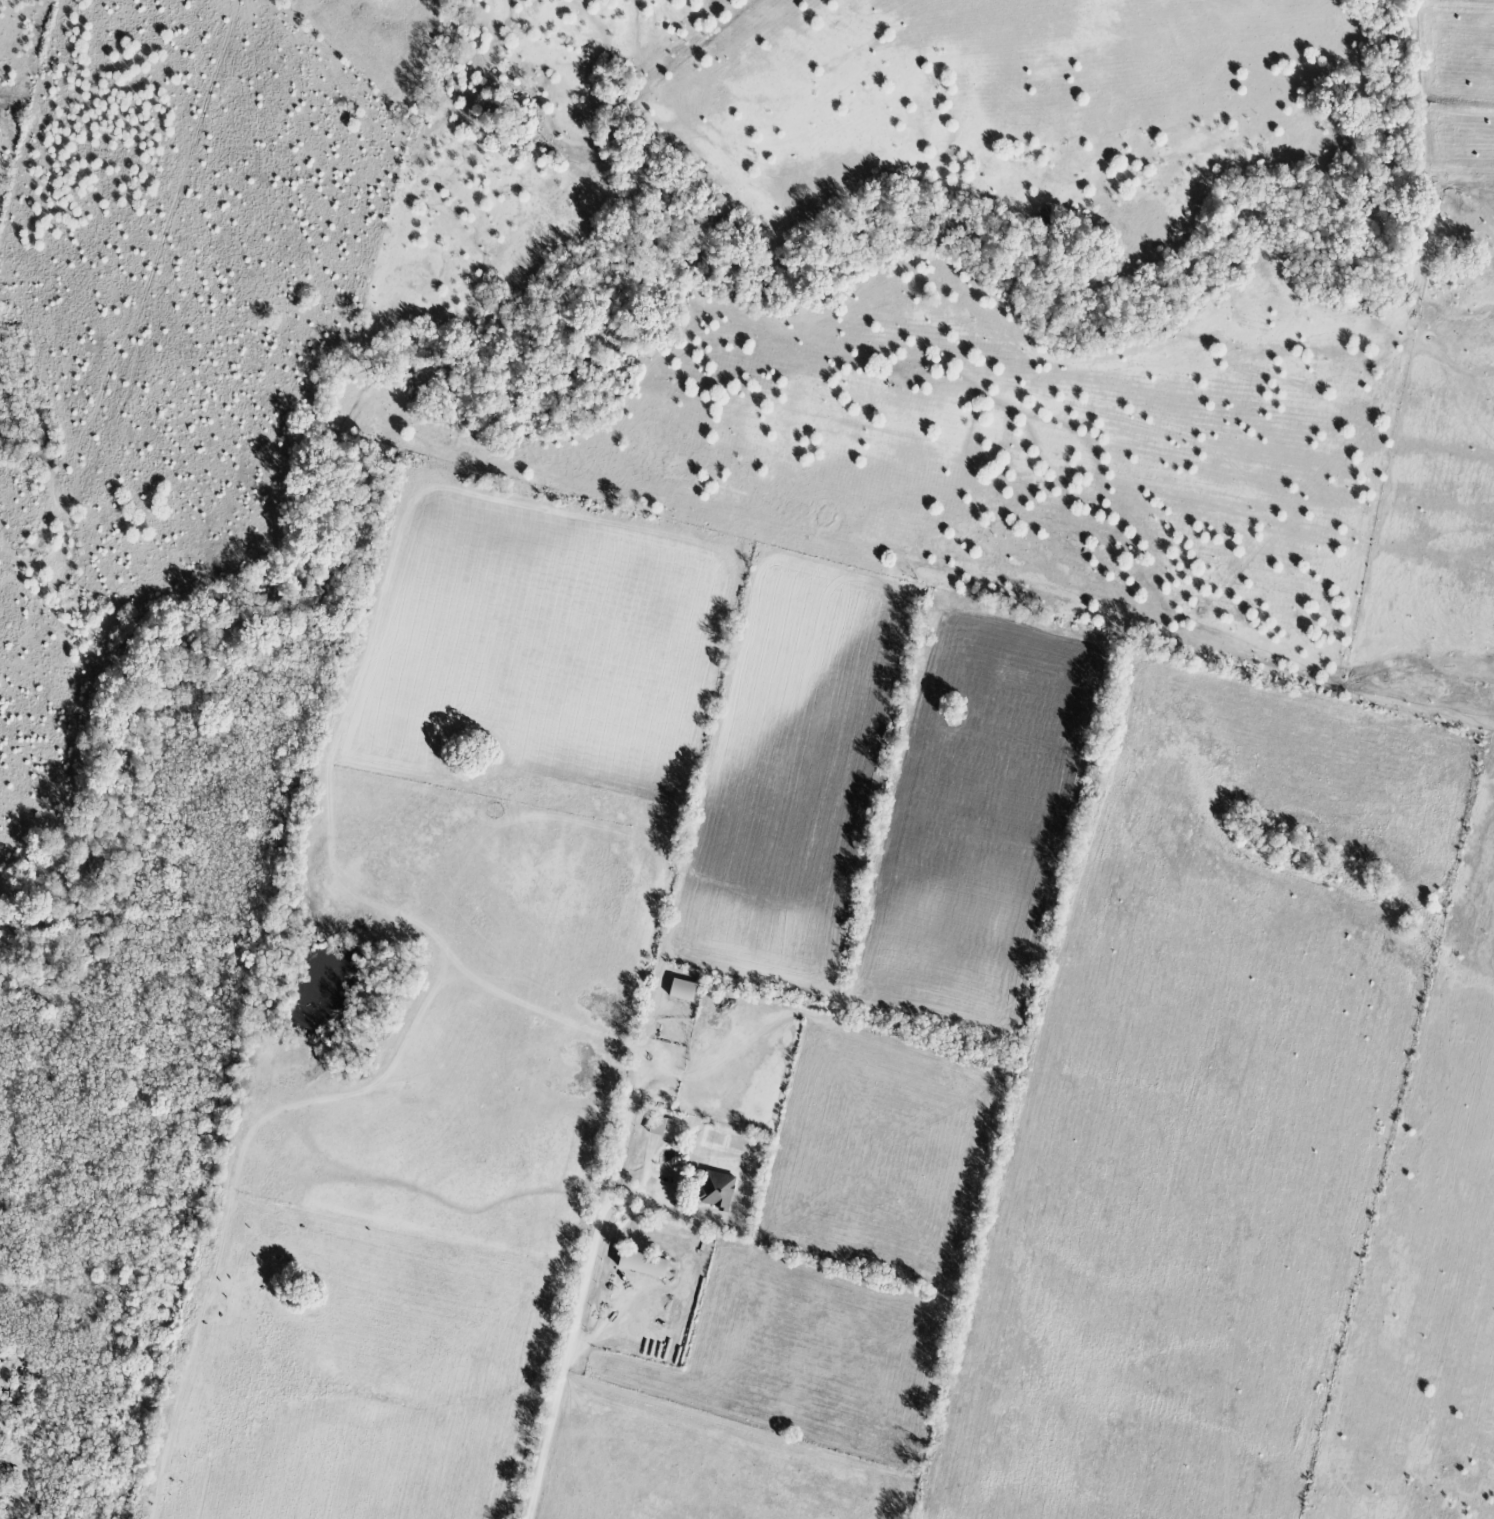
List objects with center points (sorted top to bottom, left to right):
building: (681, 989)
building: (657, 1126)
building: (715, 1190)
building: (641, 1264)
road: (571, 1337)

